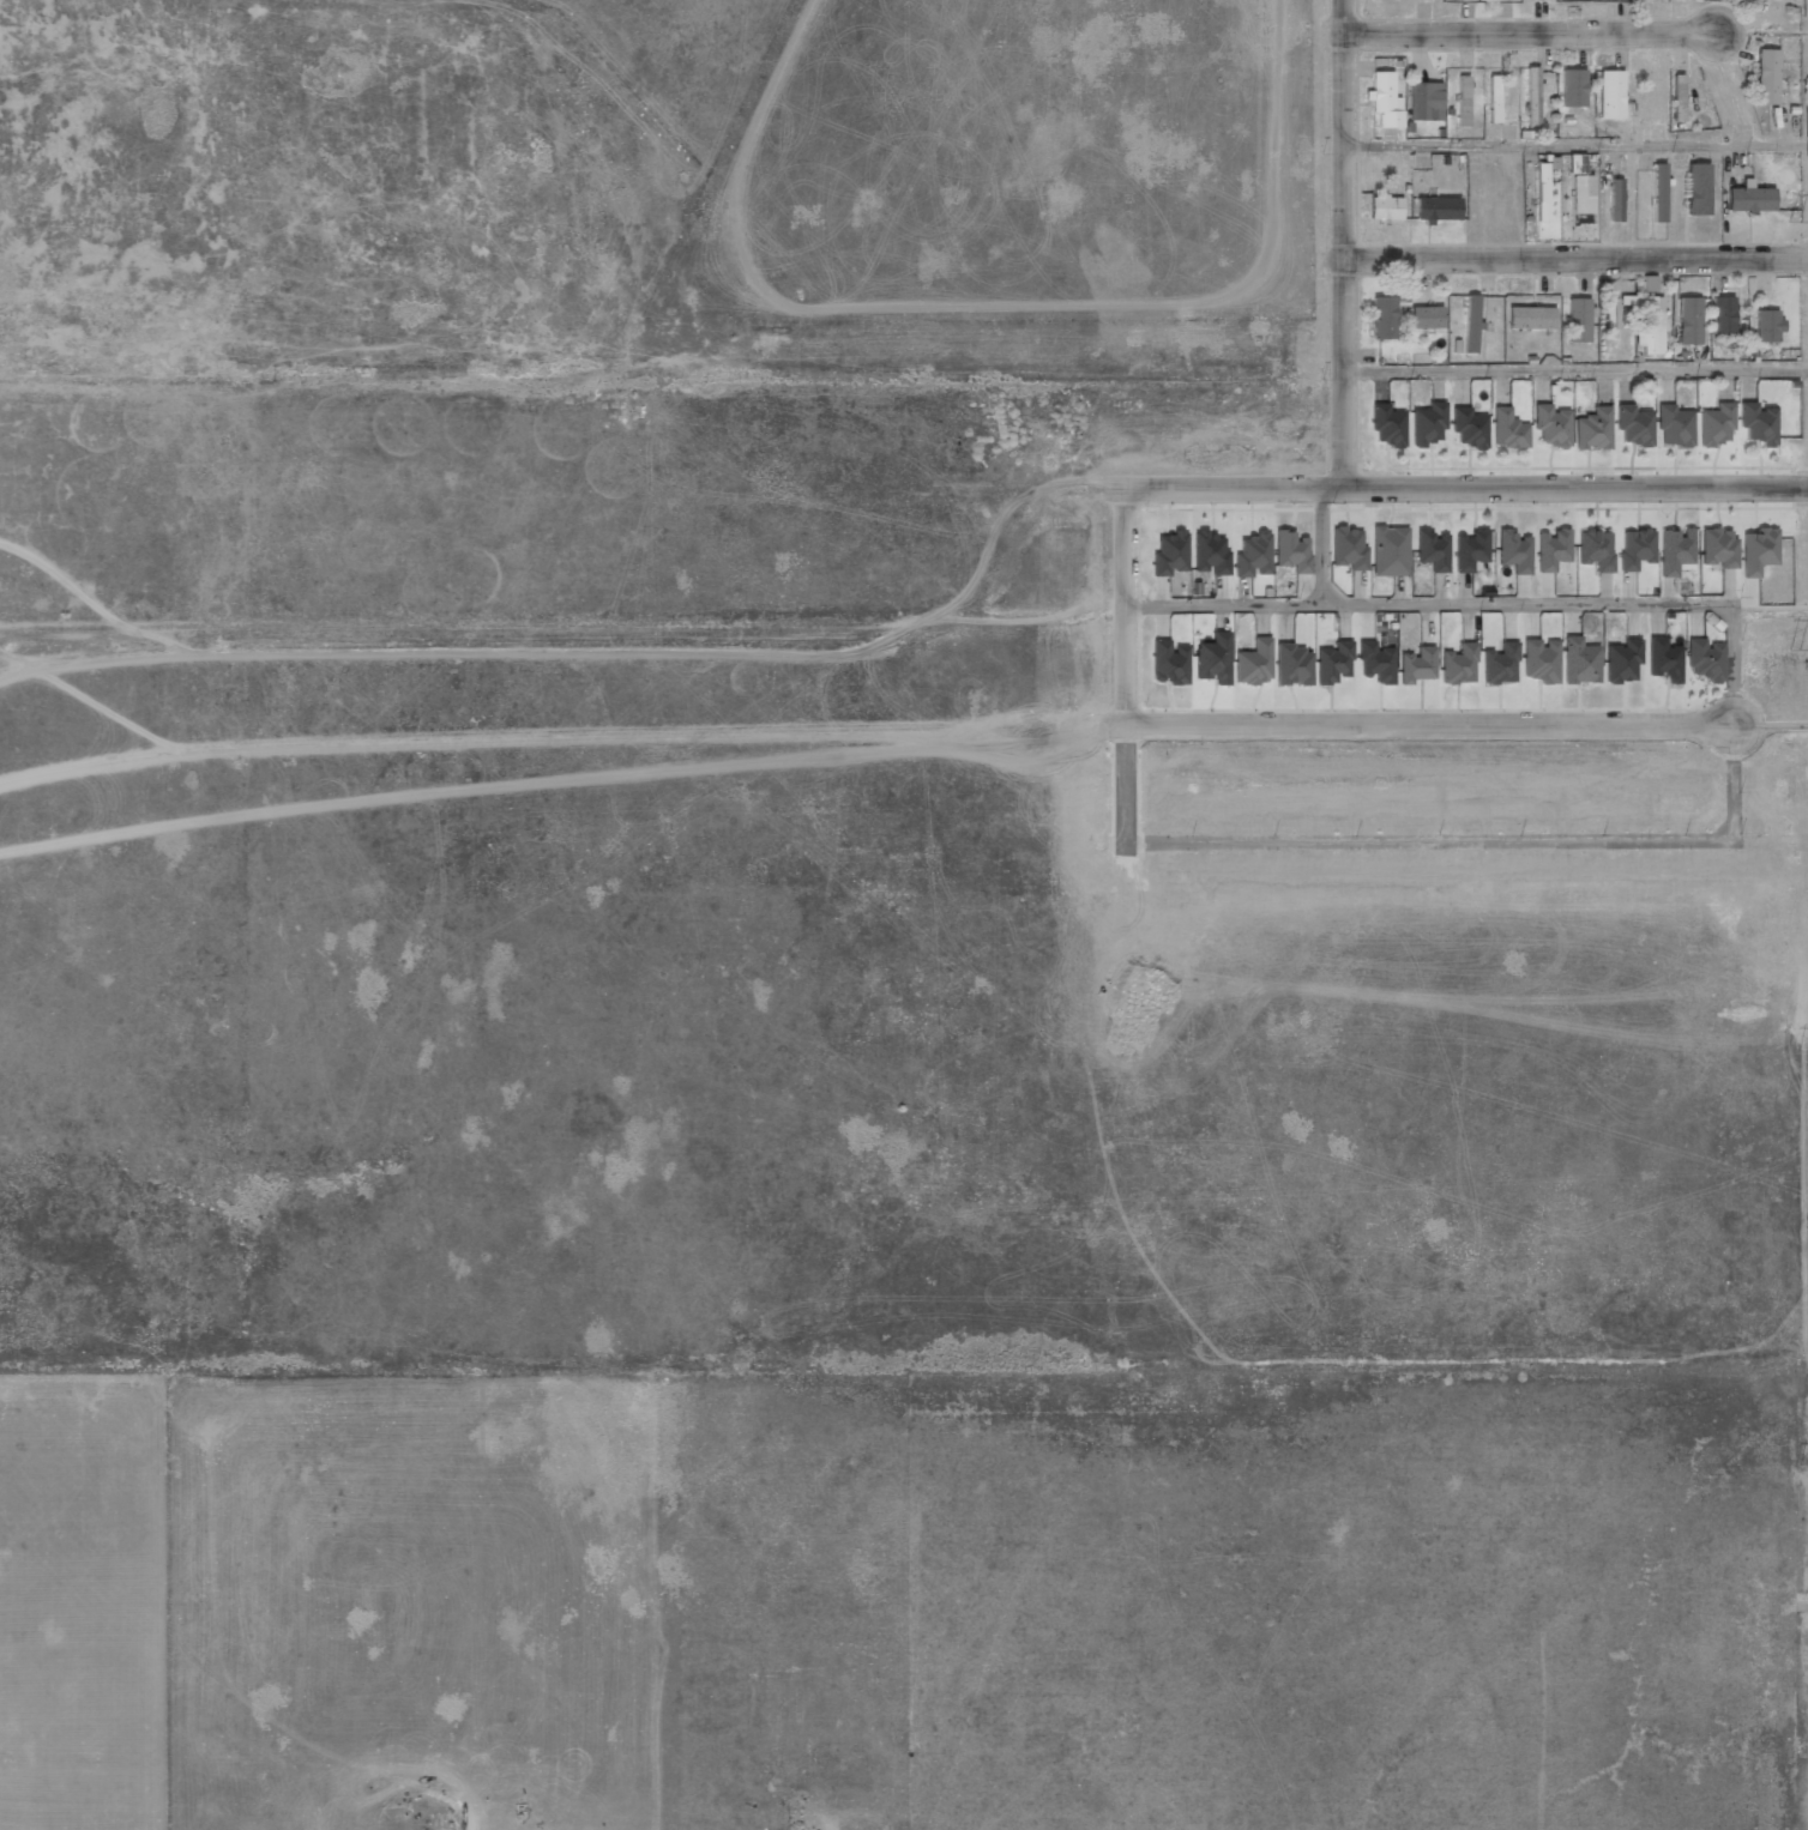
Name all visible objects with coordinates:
road: (1529, 34)
building: (1766, 77)
building: (1572, 87)
building: (1610, 93)
building: (1531, 96)
building: (1676, 97)
building: (1494, 98)
building: (1384, 99)
building: (1424, 101)
building: (1462, 101)
building: (1644, 101)
road: (1574, 145)
building: (1575, 163)
building: (1696, 189)
building: (1541, 192)
building: (1658, 192)
building: (1580, 199)
building: (1749, 199)
building: (1614, 200)
building: (1385, 207)
building: (1435, 209)
power tower: (1795, 223)
road: (1342, 244)
road: (1574, 259)
building: (1613, 310)
building: (1722, 314)
building: (1426, 316)
building: (1382, 318)
building: (1530, 318)
building: (1577, 319)
building: (1688, 321)
building: (1470, 322)
building: (1650, 326)
building: (1765, 326)
road: (1575, 370)
building: (1756, 423)
building: (1387, 424)
building: (1427, 424)
building: (1716, 424)
building: (1550, 425)
building: (1633, 425)
building: (1674, 427)
building: (1469, 428)
building: (1507, 429)
building: (1592, 429)
road: (1465, 488)
road: (1318, 545)
building: (1348, 548)
building: (1635, 548)
building: (1717, 548)
building: (1432, 549)
building: (1551, 549)
building: (1595, 549)
building: (1470, 550)
building: (1675, 550)
building: (1291, 551)
building: (1388, 551)
building: (1513, 551)
building: (1758, 551)
building: (1169, 554)
building: (1209, 554)
building: (1252, 555)
road: (1485, 603)
road: (1122, 608)
power tower: (1795, 648)
building: (1212, 659)
building: (1539, 660)
building: (1579, 660)
building: (1621, 660)
building: (1663, 660)
building: (1704, 660)
building: (1169, 663)
building: (1253, 663)
building: (1333, 663)
building: (1375, 663)
building: (1458, 664)
building: (1500, 664)
building: (1292, 665)
building: (1416, 665)
road: (1429, 725)
power tower: (1803, 1051)
power tower: (1804, 1463)

